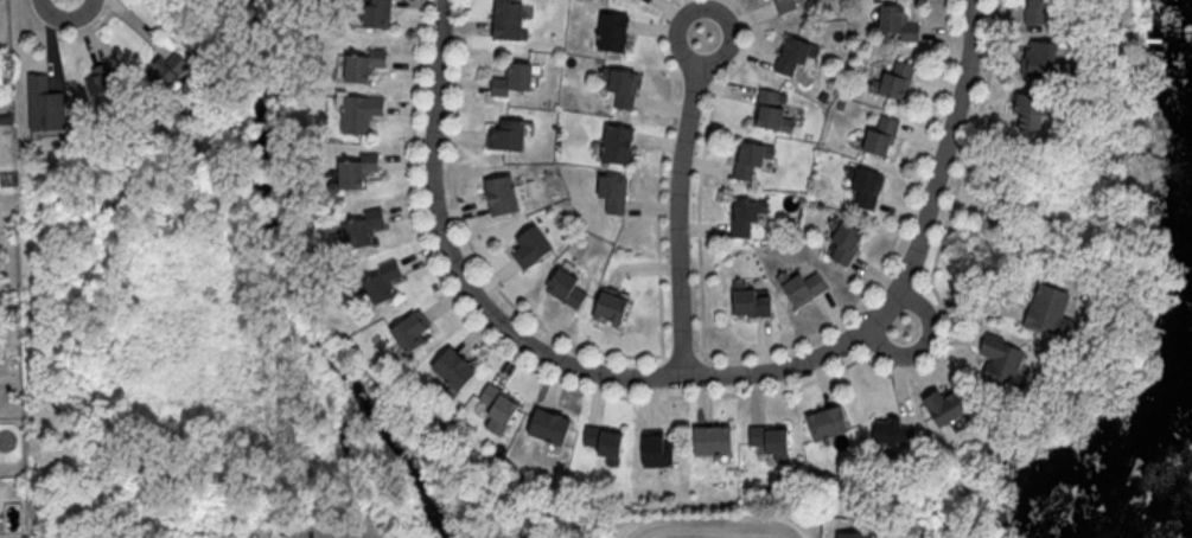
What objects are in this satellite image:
building: (783, 6)
building: (1034, 11)
building: (371, 13)
building: (503, 20)
building: (893, 24)
building: (608, 33)
building: (791, 56)
building: (1037, 59)
building: (361, 65)
building: (162, 70)
building: (892, 79)
building: (510, 81)
building: (98, 84)
building: (617, 87)
building: (42, 104)
building: (770, 111)
building: (1025, 111)
building: (357, 113)
building: (503, 135)
building: (878, 135)
building: (613, 146)
building: (747, 159)
building: (351, 171)
building: (861, 186)
building: (610, 196)
building: (497, 197)
road: (683, 203)
building: (741, 218)
building: (359, 229)
building: (841, 242)
building: (527, 248)
building: (378, 283)
building: (563, 288)
building: (801, 288)
building: (748, 303)
building: (607, 307)
road: (962, 307)
building: (1046, 310)
building: (407, 328)
building: (1000, 365)
building: (450, 370)
road: (693, 373)
building: (497, 405)
building: (939, 409)
building: (824, 423)
building: (546, 428)
building: (892, 433)
building: (709, 441)
building: (769, 442)
building: (599, 446)
building: (655, 450)
park: (779, 518)
road: (719, 526)
building: (853, 536)
road: (378, 537)

